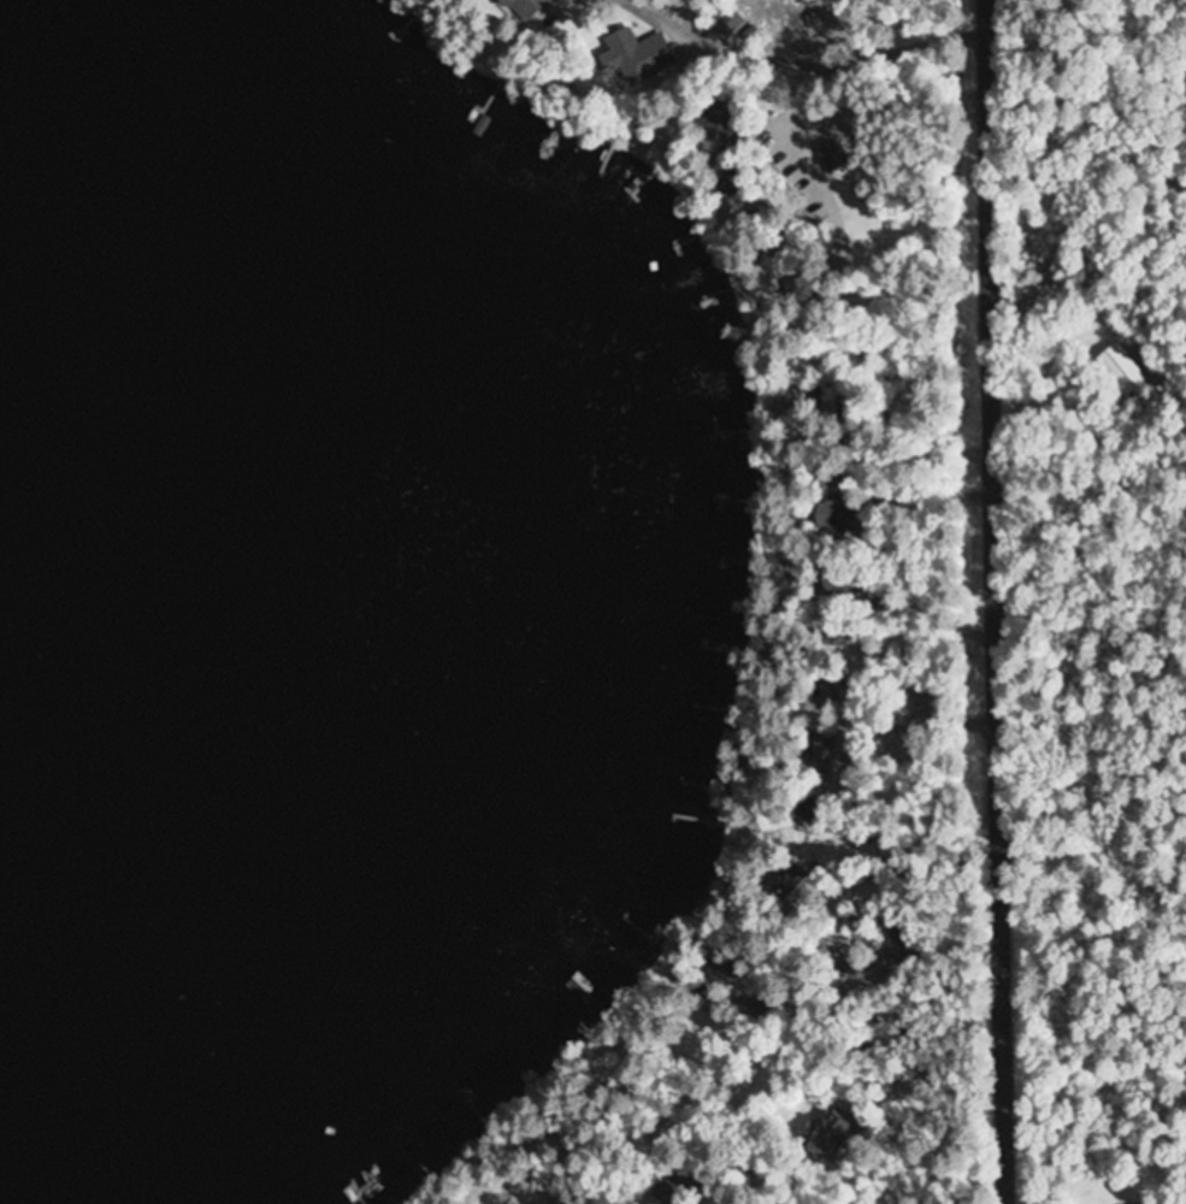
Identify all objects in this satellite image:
building: (632, 55)
building: (964, 105)
building: (708, 117)
building: (831, 155)
building: (1122, 368)
building: (833, 515)
road: (997, 602)
building: (818, 750)
road: (873, 943)
building: (826, 1137)

